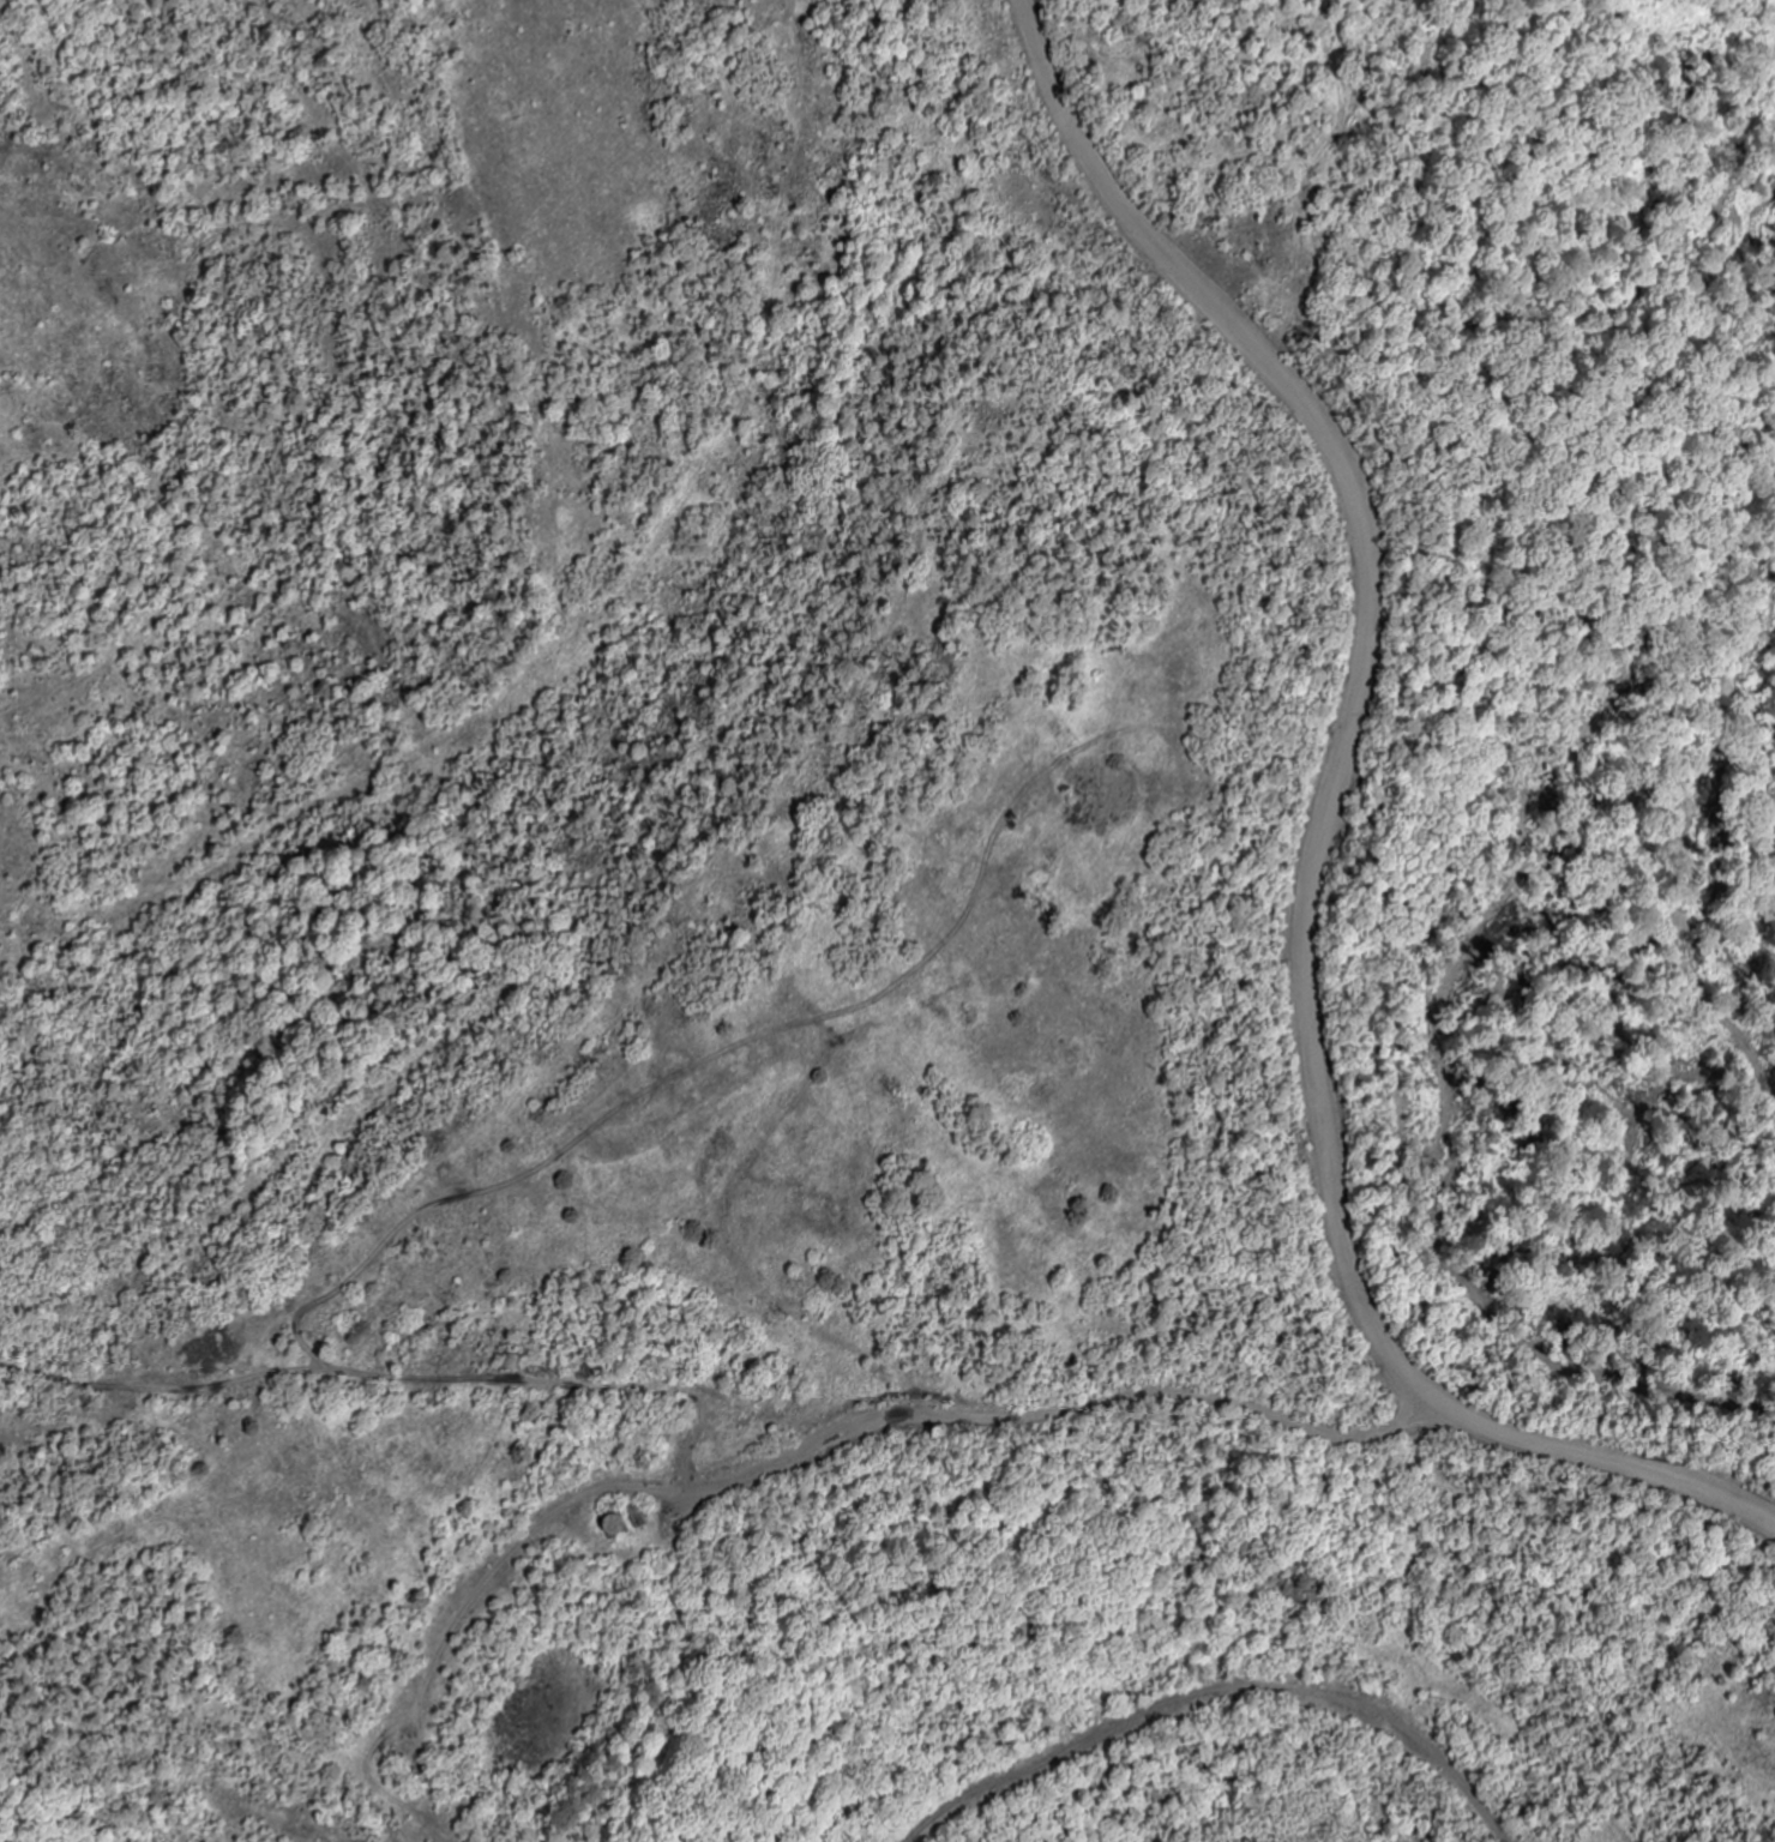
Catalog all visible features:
building: (626, 1521)

